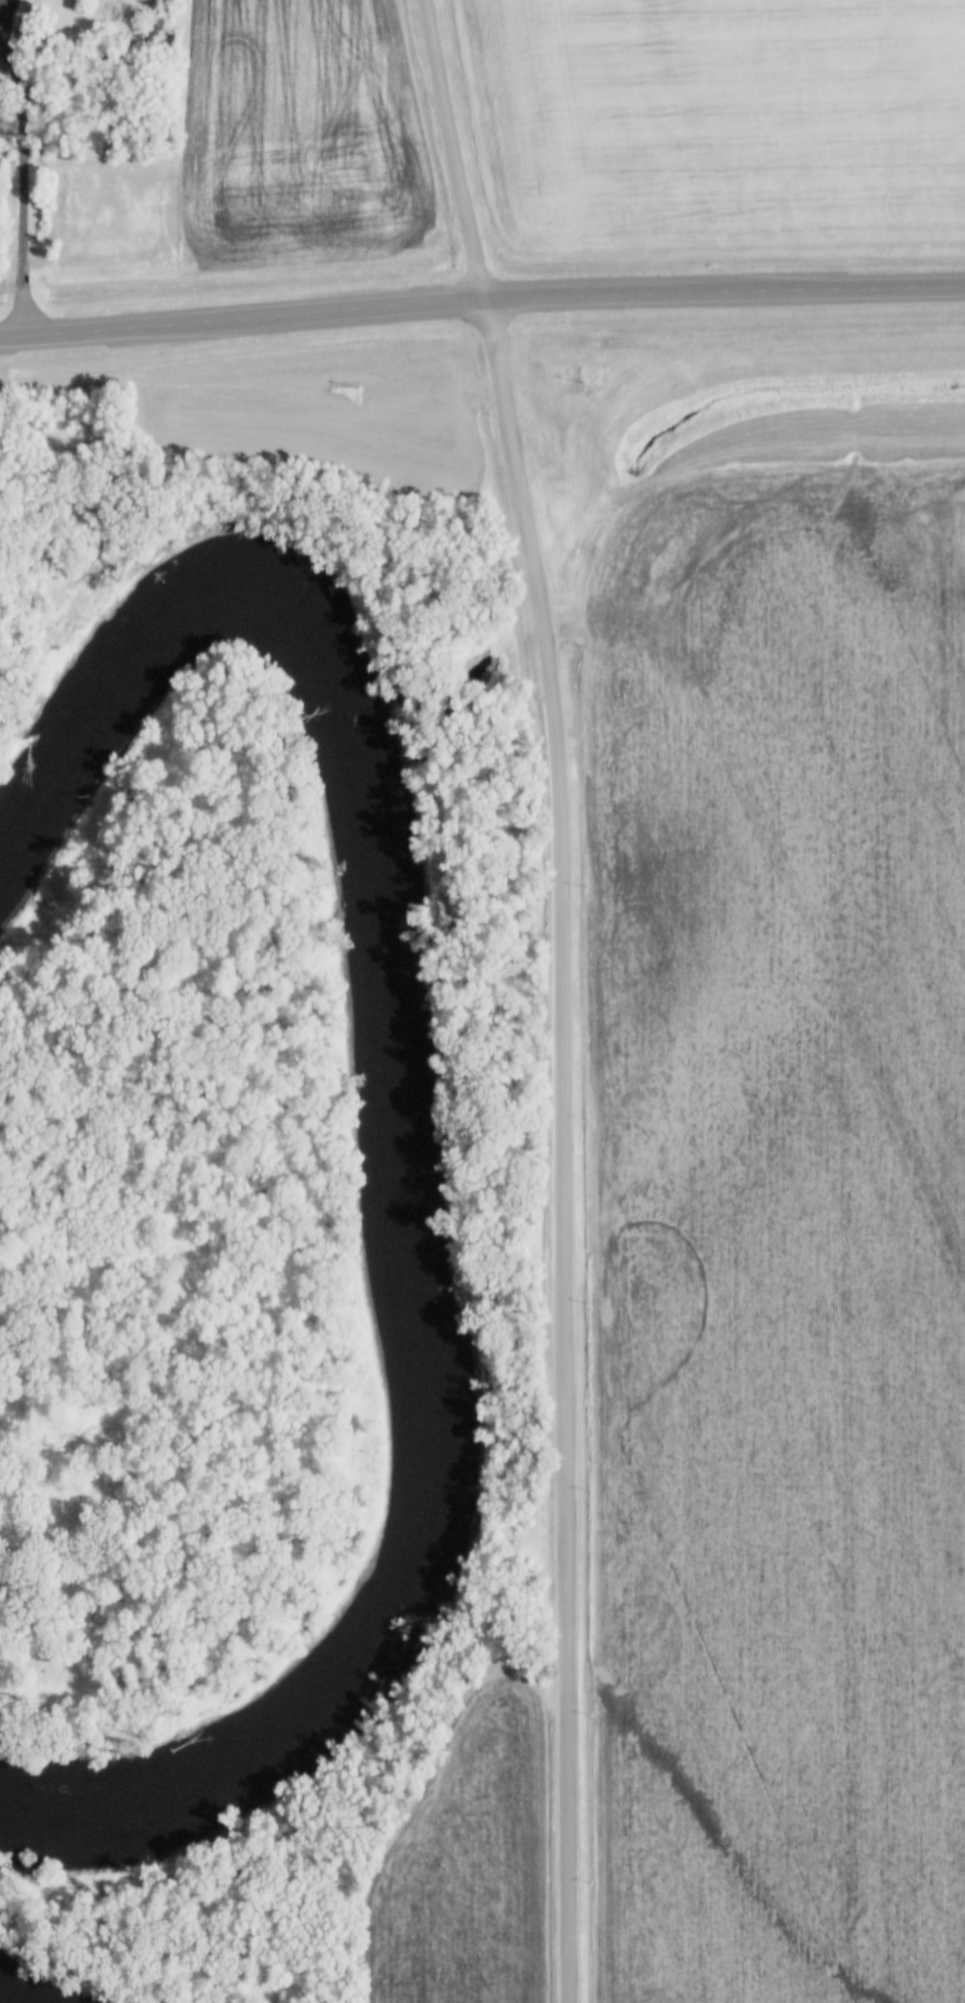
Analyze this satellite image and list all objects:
crop: (719, 121)
crop: (301, 133)
road: (456, 149)
road: (24, 181)
road: (481, 299)
river: (155, 612)
road: (562, 1147)
crop: (779, 1236)
river: (403, 1375)
crop: (467, 1865)

